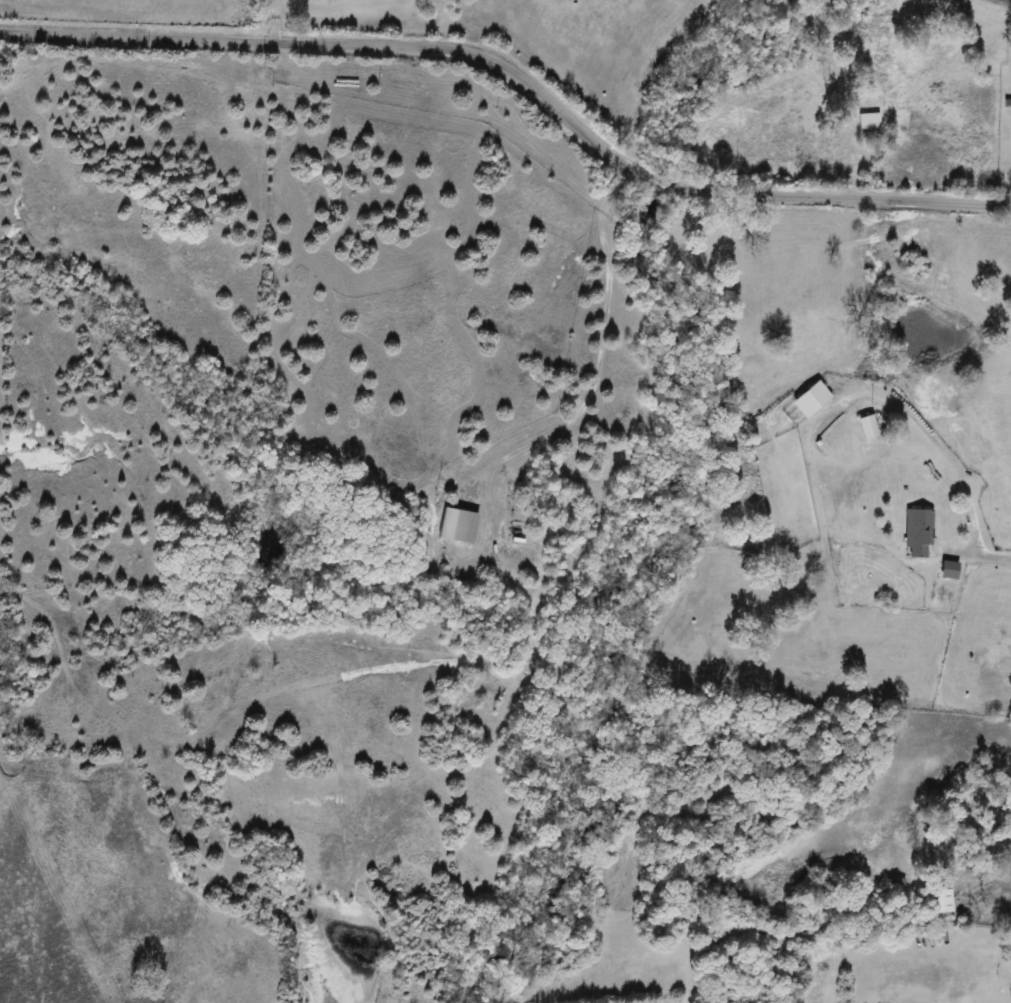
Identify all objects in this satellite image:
road: (275, 22)
road: (519, 80)
building: (868, 121)
road: (604, 346)
building: (810, 400)
building: (867, 428)
road: (927, 430)
building: (870, 448)
building: (457, 526)
building: (917, 534)
road: (986, 553)
building: (948, 571)
building: (937, 904)

